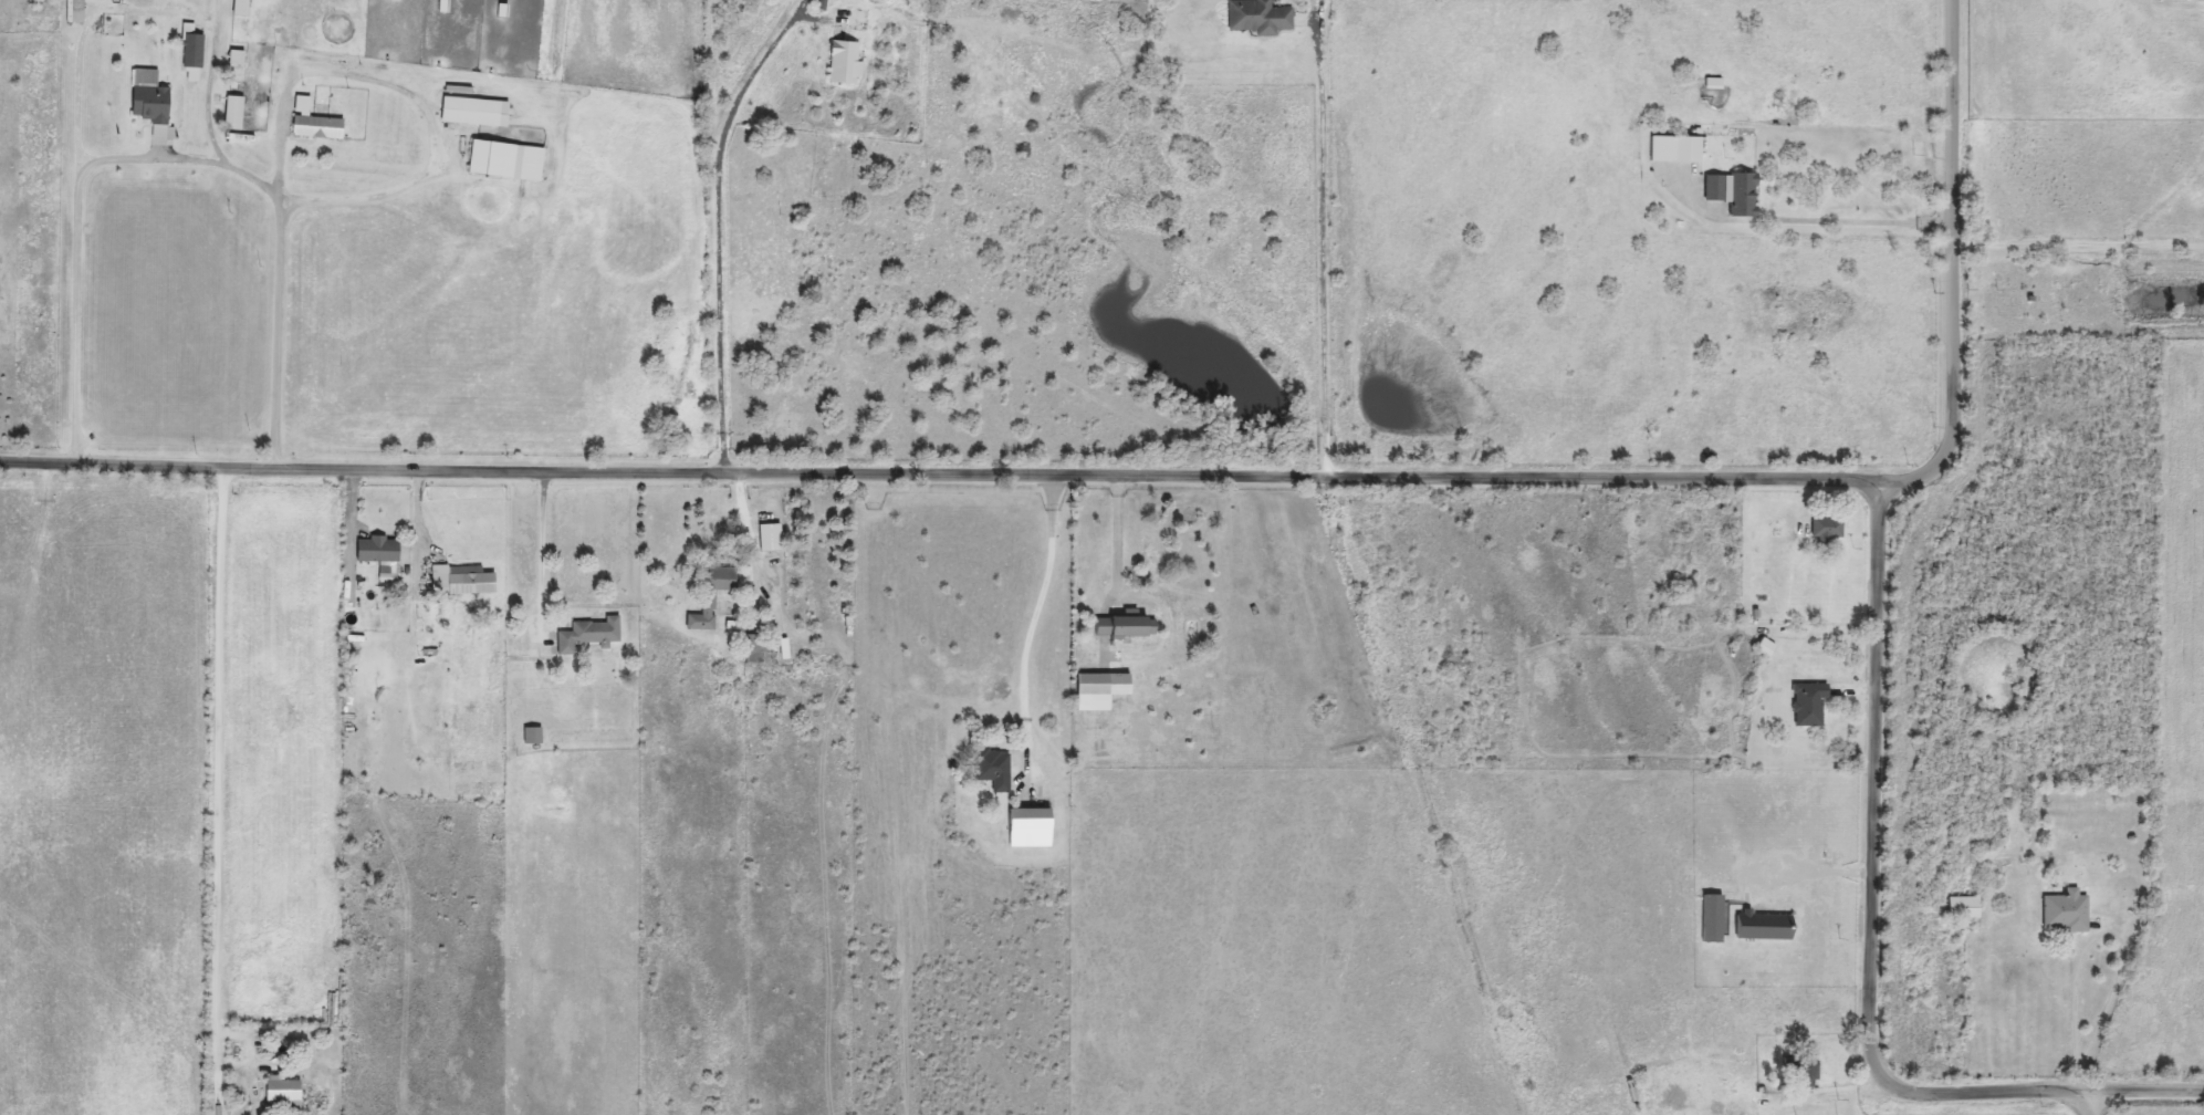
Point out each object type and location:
building: (242, 8)
building: (1260, 17)
road: (84, 38)
building: (238, 59)
building: (846, 63)
road: (291, 87)
building: (154, 105)
building: (476, 112)
building: (234, 113)
road: (215, 115)
building: (315, 123)
building: (1676, 149)
building: (508, 160)
building: (1716, 188)
building: (1746, 195)
road: (1801, 223)
road: (2081, 223)
road: (721, 226)
road: (77, 236)
road: (1326, 253)
road: (1209, 478)
building: (1829, 525)
road: (1118, 533)
building: (771, 536)
building: (379, 548)
road: (542, 559)
building: (463, 579)
building: (713, 595)
building: (1127, 625)
road: (1034, 629)
building: (591, 634)
building: (754, 647)
building: (1767, 647)
building: (1101, 688)
building: (1811, 702)
building: (534, 736)
building: (361, 754)
building: (534, 762)
building: (995, 768)
road: (218, 769)
building: (1032, 826)
road: (1814, 876)
building: (374, 893)
building: (1965, 906)
building: (2067, 911)
building: (1714, 917)
building: (1767, 925)
road: (2101, 932)
road: (1877, 941)
building: (1803, 1070)
building: (285, 1094)
road: (2080, 1096)

